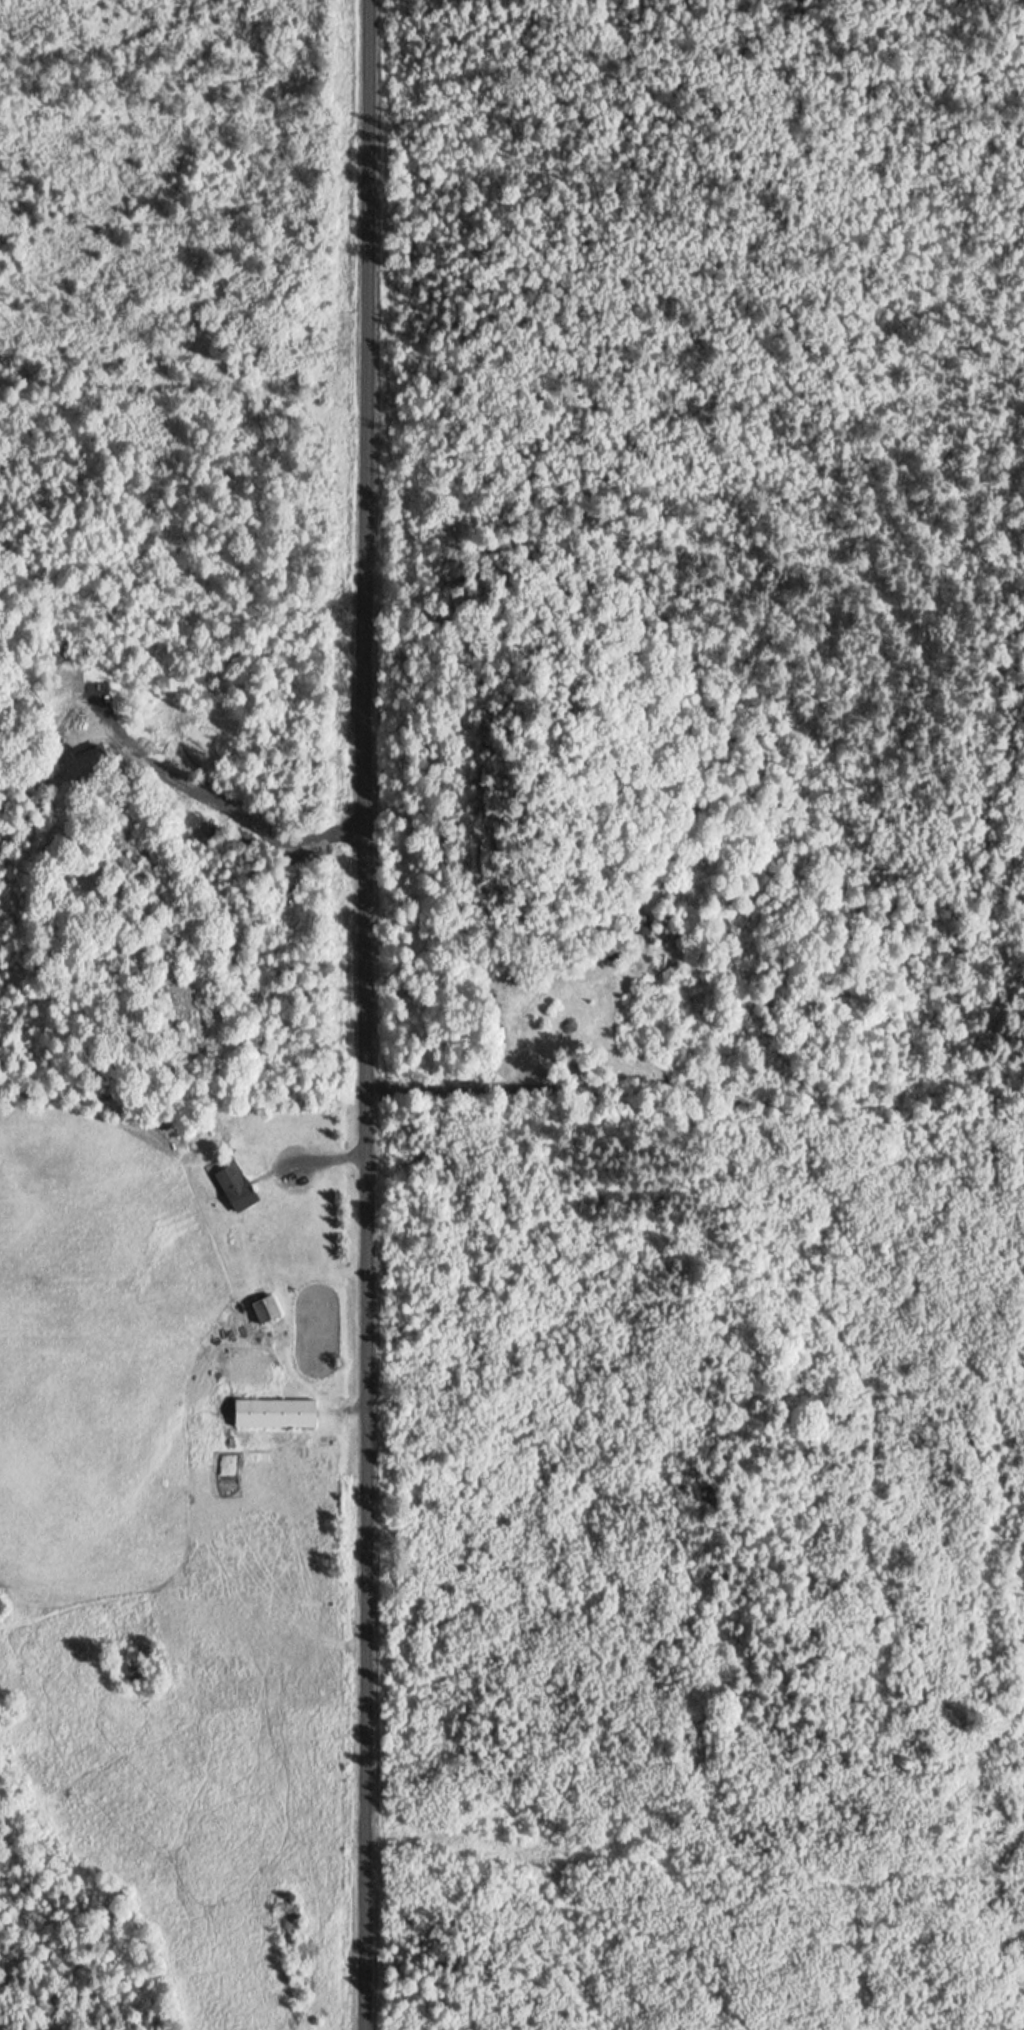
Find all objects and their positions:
road: (371, 1015)
building: (242, 1190)
building: (276, 1320)
building: (280, 1413)

